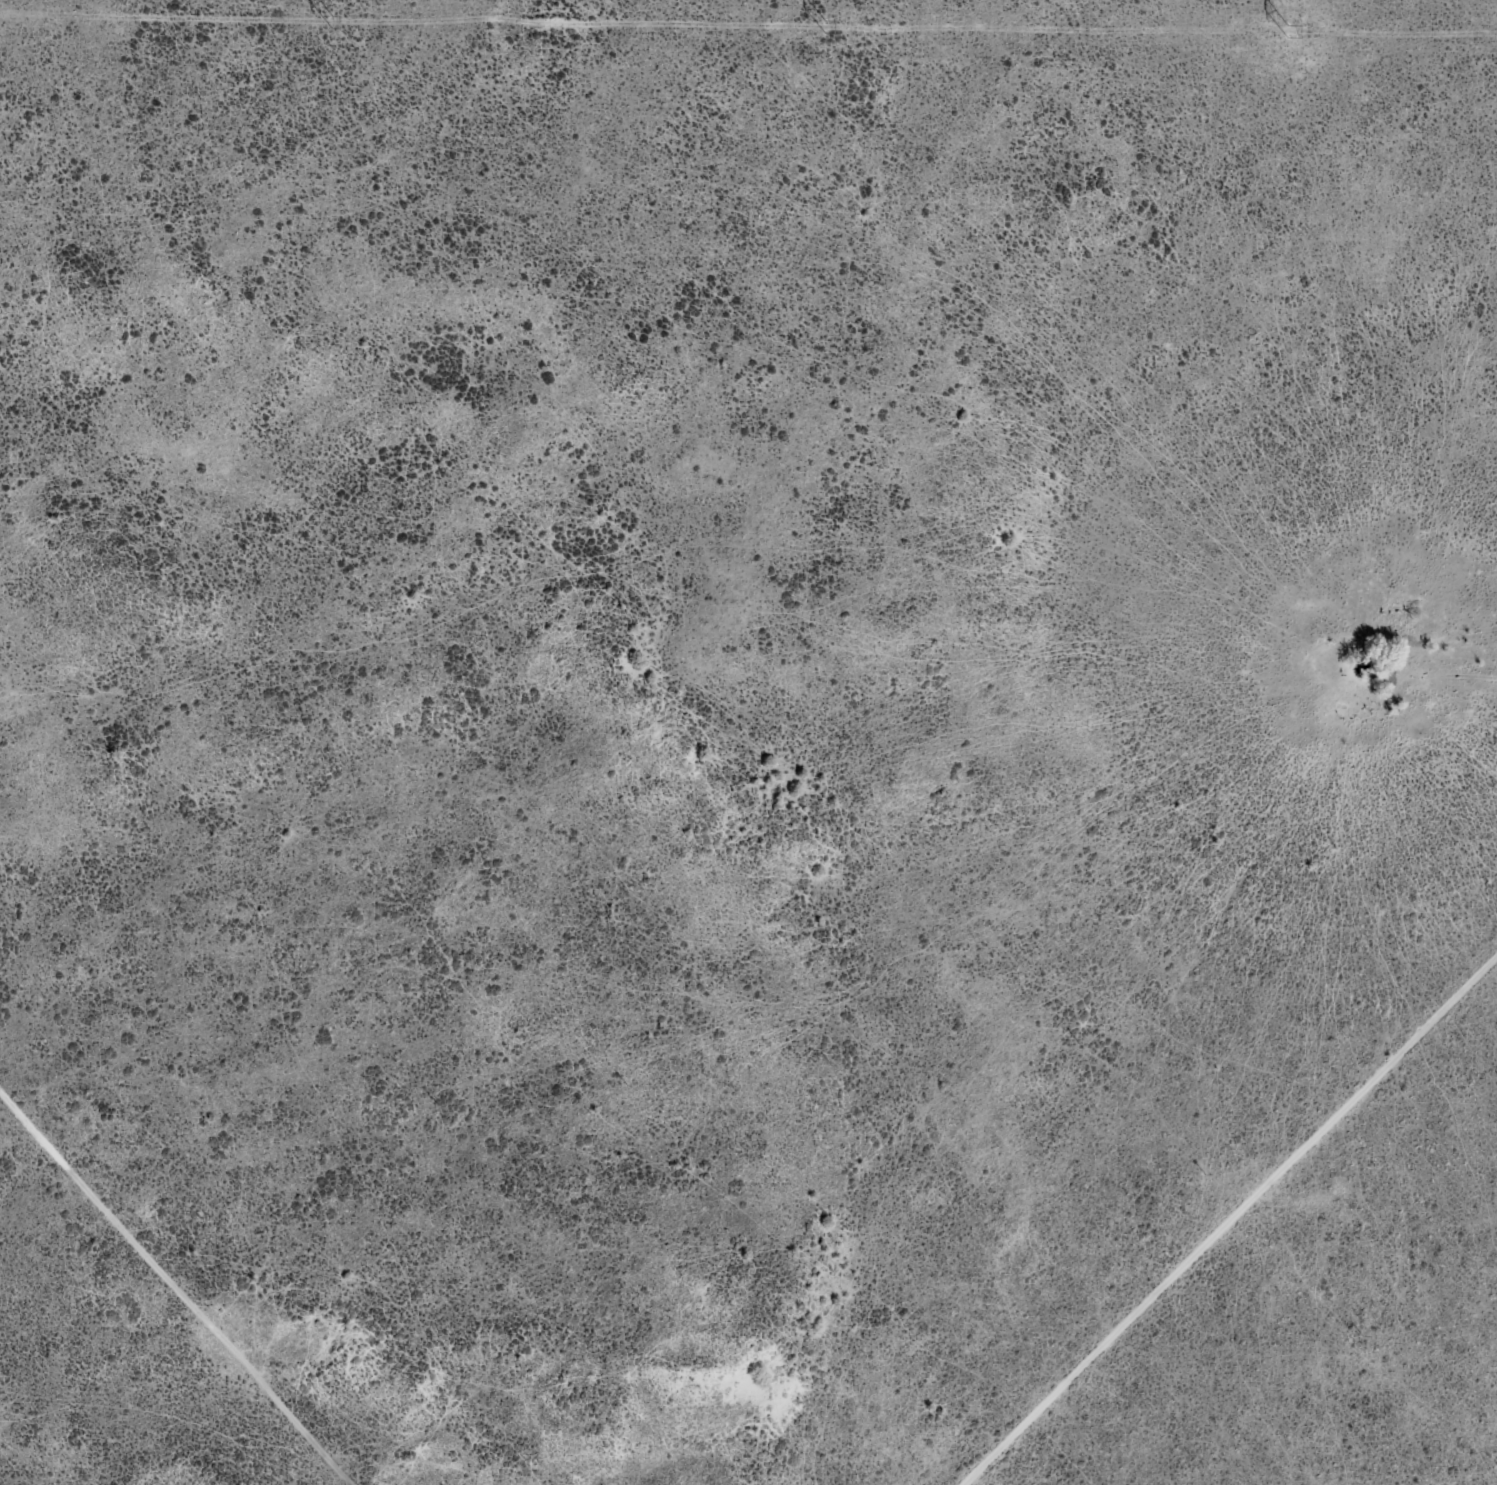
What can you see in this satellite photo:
power tower: (332, 19)
power tower: (823, 27)
power tower: (1288, 29)
road: (1255, 1239)
road: (202, 1257)

